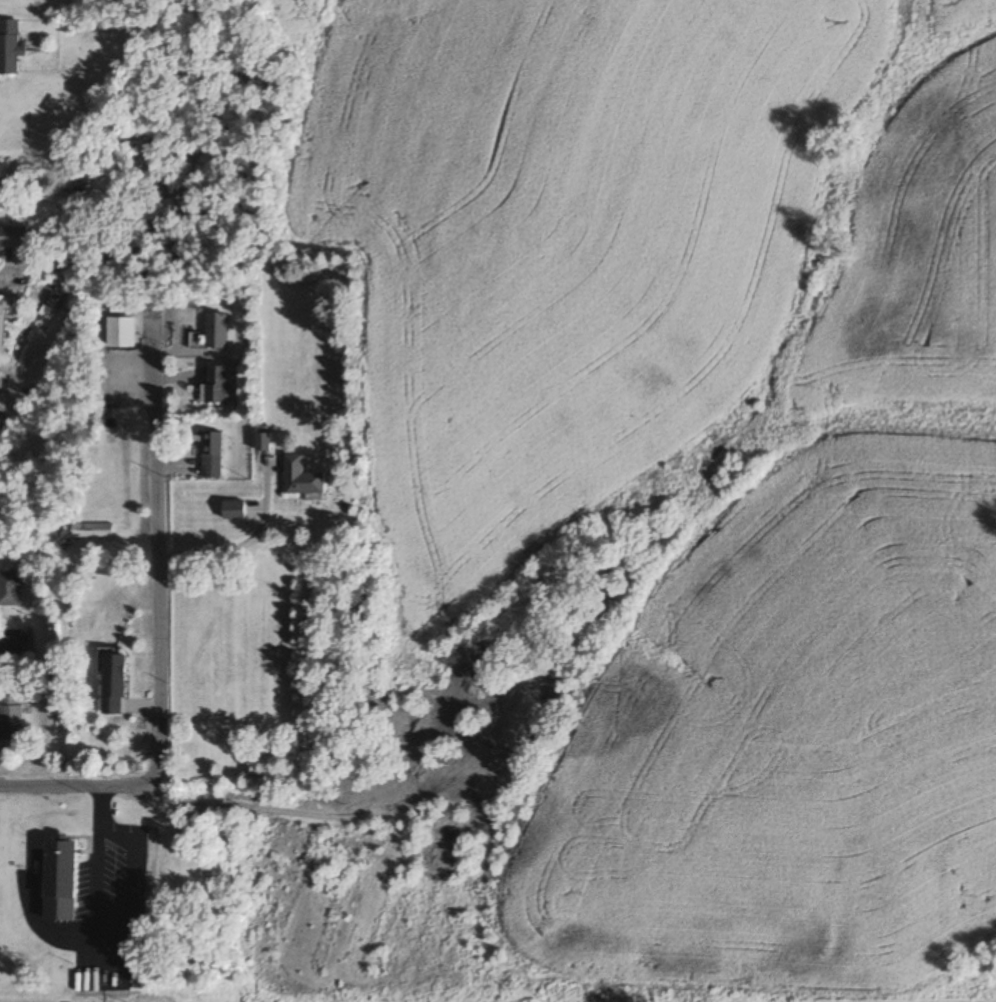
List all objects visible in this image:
building: (9, 47)
building: (14, 237)
building: (6, 315)
building: (215, 331)
building: (122, 332)
building: (194, 340)
building: (214, 386)
crop: (700, 436)
building: (263, 442)
building: (211, 455)
building: (302, 478)
building: (234, 511)
building: (91, 531)
road: (157, 549)
building: (9, 589)
building: (11, 651)
building: (114, 685)
building: (10, 719)
building: (523, 724)
road: (76, 785)
building: (60, 871)

